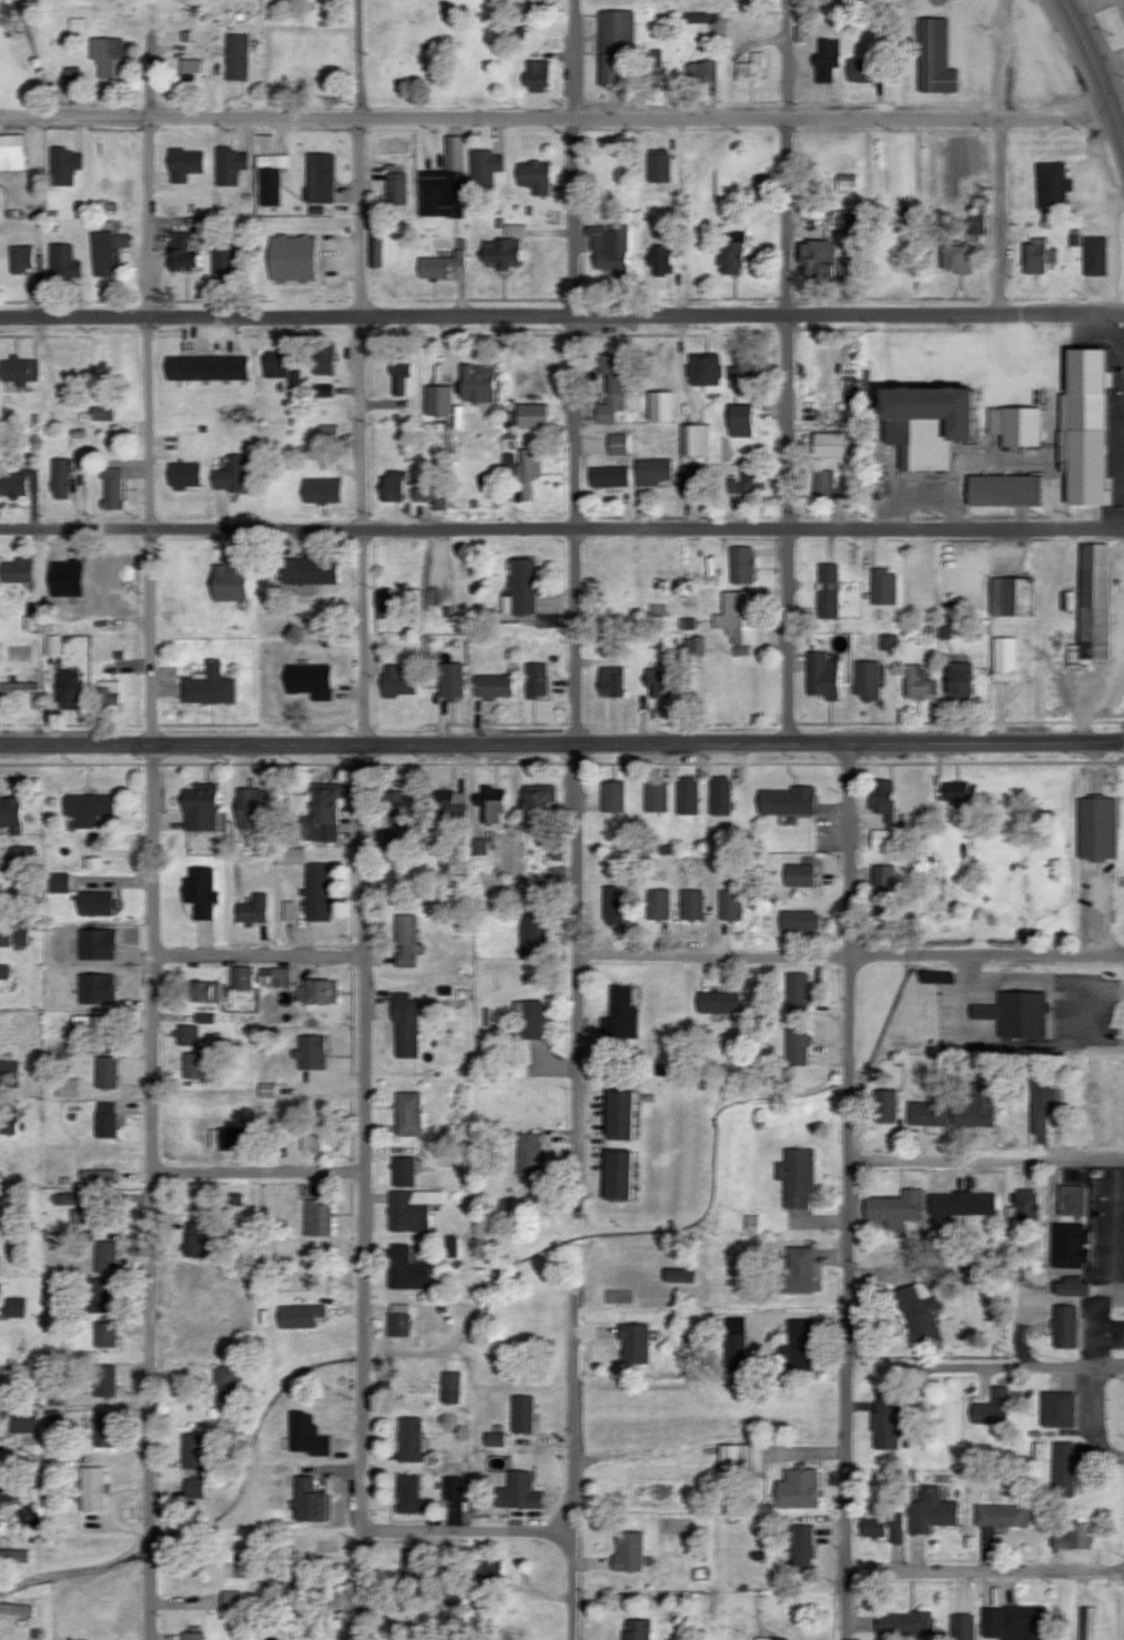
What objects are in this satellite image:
building: (697, 17)
building: (618, 30)
building: (235, 55)
building: (108, 57)
building: (934, 57)
building: (828, 60)
building: (752, 67)
building: (656, 68)
building: (610, 69)
building: (863, 70)
building: (702, 71)
road: (1096, 71)
building: (191, 73)
building: (537, 75)
road: (1013, 107)
road: (561, 120)
building: (12, 151)
road: (363, 159)
building: (185, 163)
building: (62, 164)
building: (659, 164)
building: (230, 165)
building: (486, 166)
building: (272, 176)
building: (537, 176)
building: (320, 178)
building: (446, 180)
building: (847, 181)
building: (1051, 184)
building: (399, 188)
building: (516, 230)
building: (121, 240)
building: (611, 249)
building: (379, 250)
building: (183, 252)
building: (731, 252)
building: (103, 253)
building: (502, 253)
building: (1094, 255)
building: (1034, 256)
building: (23, 257)
building: (292, 257)
building: (956, 257)
building: (661, 259)
building: (222, 260)
building: (817, 260)
building: (63, 262)
building: (441, 264)
road: (561, 317)
building: (323, 358)
road: (459, 363)
building: (275, 364)
building: (206, 367)
building: (18, 369)
road: (584, 371)
building: (706, 371)
road: (792, 371)
building: (745, 375)
building: (404, 377)
building: (477, 382)
road: (150, 385)
building: (611, 388)
building: (323, 389)
building: (438, 399)
building: (662, 405)
building: (103, 413)
building: (534, 414)
building: (742, 421)
road: (699, 423)
building: (925, 423)
building: (1015, 425)
building: (1082, 426)
building: (331, 435)
building: (698, 439)
building: (620, 443)
building: (828, 444)
building: (332, 462)
building: (510, 464)
building: (528, 470)
building: (652, 470)
building: (185, 474)
building: (229, 474)
building: (692, 475)
building: (608, 476)
building: (60, 478)
building: (747, 480)
building: (19, 483)
building: (394, 485)
building: (827, 487)
building: (111, 488)
building: (323, 489)
building: (1003, 490)
building: (432, 495)
road: (561, 528)
road: (367, 530)
building: (741, 565)
building: (16, 570)
building: (307, 570)
building: (67, 577)
building: (227, 580)
building: (883, 586)
building: (522, 587)
building: (445, 590)
building: (828, 590)
building: (1012, 596)
building: (1092, 604)
building: (738, 619)
building: (33, 622)
road: (454, 638)
building: (890, 641)
building: (54, 645)
building: (699, 645)
building: (1006, 658)
building: (821, 676)
building: (958, 678)
building: (535, 679)
building: (867, 679)
building: (308, 680)
building: (450, 680)
building: (610, 680)
building: (658, 680)
building: (396, 681)
building: (920, 682)
building: (207, 686)
building: (492, 686)
building: (18, 688)
building: (67, 690)
building: (110, 695)
road: (561, 743)
building: (958, 792)
building: (688, 794)
building: (720, 794)
building: (657, 796)
building: (612, 797)
building: (881, 797)
building: (788, 801)
building: (494, 804)
building: (447, 806)
building: (199, 807)
building: (249, 807)
building: (87, 808)
building: (12, 814)
building: (321, 814)
building: (396, 817)
building: (1095, 828)
building: (885, 839)
road: (583, 841)
building: (479, 846)
building: (557, 848)
building: (23, 853)
building: (290, 856)
building: (94, 863)
building: (798, 874)
building: (57, 882)
building: (882, 889)
building: (199, 892)
building: (317, 893)
building: (95, 902)
building: (612, 904)
building: (658, 904)
building: (691, 904)
building: (730, 904)
building: (254, 909)
building: (288, 910)
road: (1095, 911)
building: (798, 921)
building: (4, 938)
building: (20, 938)
building: (530, 938)
building: (95, 943)
road: (584, 948)
road: (77, 950)
road: (854, 955)
road: (260, 960)
building: (3, 971)
building: (273, 975)
building: (240, 978)
building: (95, 989)
building: (316, 991)
building: (797, 991)
building: (200, 992)
building: (716, 1002)
building: (619, 1014)
building: (1015, 1014)
building: (203, 1018)
building: (528, 1019)
building: (93, 1022)
building: (404, 1023)
building: (189, 1035)
building: (796, 1046)
building: (310, 1053)
building: (191, 1065)
building: (104, 1072)
building: (10, 1073)
building: (68, 1087)
building: (1041, 1099)
building: (884, 1106)
building: (975, 1107)
building: (926, 1113)
building: (406, 1114)
building: (615, 1115)
building: (8, 1117)
building: (103, 1120)
building: (285, 1128)
building: (230, 1137)
building: (315, 1138)
building: (526, 1153)
road: (990, 1162)
road: (260, 1171)
building: (402, 1172)
building: (98, 1174)
building: (615, 1175)
building: (794, 1176)
road: (111, 1177)
road: (151, 1192)
road: (367, 1192)
road: (854, 1192)
building: (1071, 1199)
building: (961, 1203)
building: (1025, 1205)
building: (894, 1207)
building: (412, 1209)
building: (1011, 1214)
building: (315, 1218)
building: (195, 1245)
building: (1069, 1245)
building: (104, 1256)
building: (1, 1264)
building: (404, 1269)
building: (794, 1272)
building: (676, 1275)
building: (1070, 1286)
building: (98, 1294)
road: (579, 1298)
building: (16, 1306)
building: (918, 1312)
building: (298, 1315)
building: (396, 1319)
road: (790, 1323)
building: (1064, 1326)
building: (103, 1333)
building: (631, 1342)
building: (797, 1345)
road: (1046, 1366)
building: (226, 1379)
building: (104, 1380)
building: (448, 1387)
building: (993, 1407)
building: (1056, 1408)
building: (519, 1414)
building: (24, 1420)
building: (883, 1420)
building: (103, 1429)
building: (305, 1435)
building: (408, 1438)
building: (493, 1439)
building: (192, 1450)
road: (709, 1456)
building: (739, 1457)
building: (1064, 1469)
building: (193, 1487)
building: (452, 1487)
building: (91, 1488)
building: (796, 1488)
building: (517, 1491)
building: (406, 1492)
park: (26, 1497)
building: (307, 1500)
building: (930, 1511)
building: (1002, 1515)
building: (883, 1527)
road: (472, 1531)
building: (1072, 1536)
building: (800, 1547)
building: (626, 1551)
building: (415, 1571)
road: (985, 1571)
building: (485, 1572)
building: (232, 1600)
building: (10, 1608)
building: (1014, 1622)
building: (1086, 1622)
building: (903, 1624)
building: (963, 1627)
building: (635, 1629)
building: (192, 1636)
building: (770, 1638)

